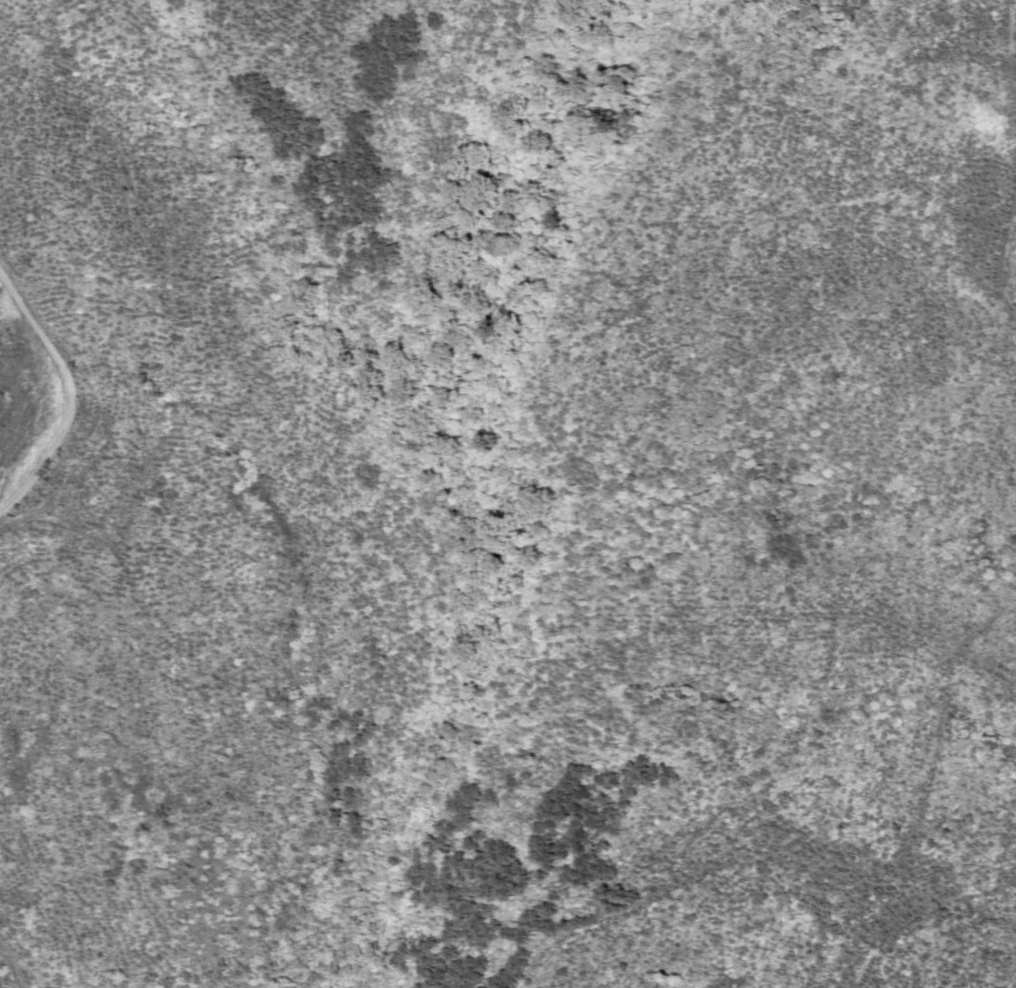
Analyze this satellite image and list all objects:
road: (71, 388)

